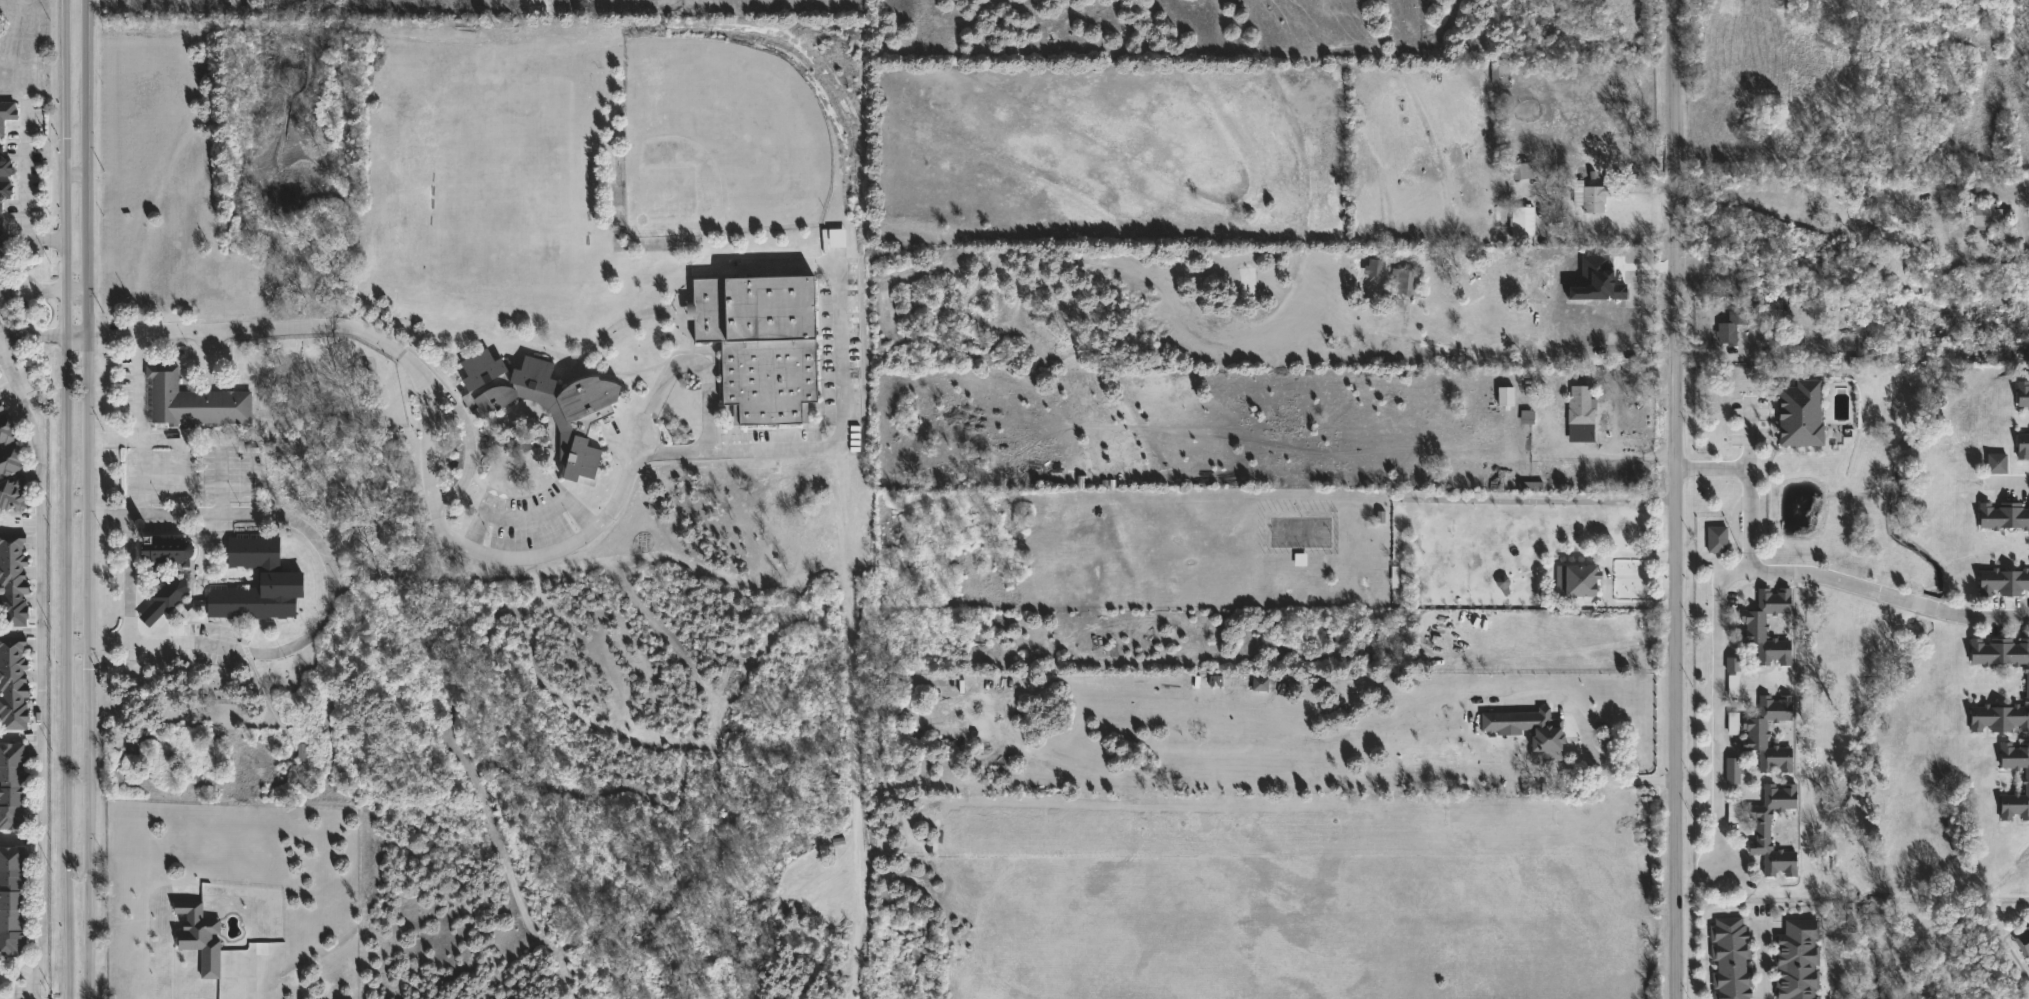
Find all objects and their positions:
building: (7, 111)
park: (720, 139)
building: (4, 163)
building: (1526, 169)
road: (75, 172)
building: (4, 189)
road: (24, 189)
building: (1592, 197)
building: (1985, 215)
building: (1523, 219)
road: (1812, 226)
building: (2, 232)
building: (836, 237)
road: (1606, 240)
building: (1713, 262)
building: (1596, 280)
building: (1406, 281)
road: (42, 289)
building: (1794, 304)
road: (25, 314)
road: (284, 325)
building: (1727, 325)
road: (112, 329)
road: (43, 336)
building: (762, 340)
road: (1537, 361)
road: (687, 363)
road: (838, 376)
road: (137, 384)
building: (2022, 391)
building: (1505, 395)
building: (193, 399)
building: (1580, 402)
building: (1, 403)
building: (547, 405)
building: (1799, 413)
building: (1524, 416)
building: (6, 430)
road: (1750, 436)
road: (192, 439)
building: (2023, 442)
road: (668, 450)
building: (11, 459)
building: (1997, 460)
road: (1713, 467)
road: (145, 476)
road: (181, 476)
road: (2008, 480)
building: (1523, 485)
building: (13, 493)
road: (452, 495)
road: (65, 499)
road: (87, 499)
road: (1676, 499)
road: (1540, 500)
road: (76, 503)
building: (2003, 512)
road: (525, 518)
road: (1751, 520)
building: (1717, 539)
road: (549, 552)
building: (1300, 557)
building: (281, 576)
building: (1577, 578)
road: (1607, 578)
building: (13, 579)
road: (130, 579)
building: (2004, 580)
road: (1873, 590)
road: (333, 595)
building: (1753, 622)
building: (1732, 663)
road: (41, 669)
building: (13, 681)
building: (2027, 682)
building: (1259, 683)
building: (1732, 685)
road: (1718, 714)
building: (1732, 722)
building: (1528, 726)
road: (1589, 729)
building: (1755, 730)
building: (302, 751)
building: (1732, 770)
building: (2026, 778)
building: (13, 785)
building: (1733, 808)
building: (1763, 828)
building: (12, 900)
building: (208, 925)
building: (2024, 934)
building: (1730, 956)
road: (1763, 958)
building: (1797, 958)
road: (254, 979)

